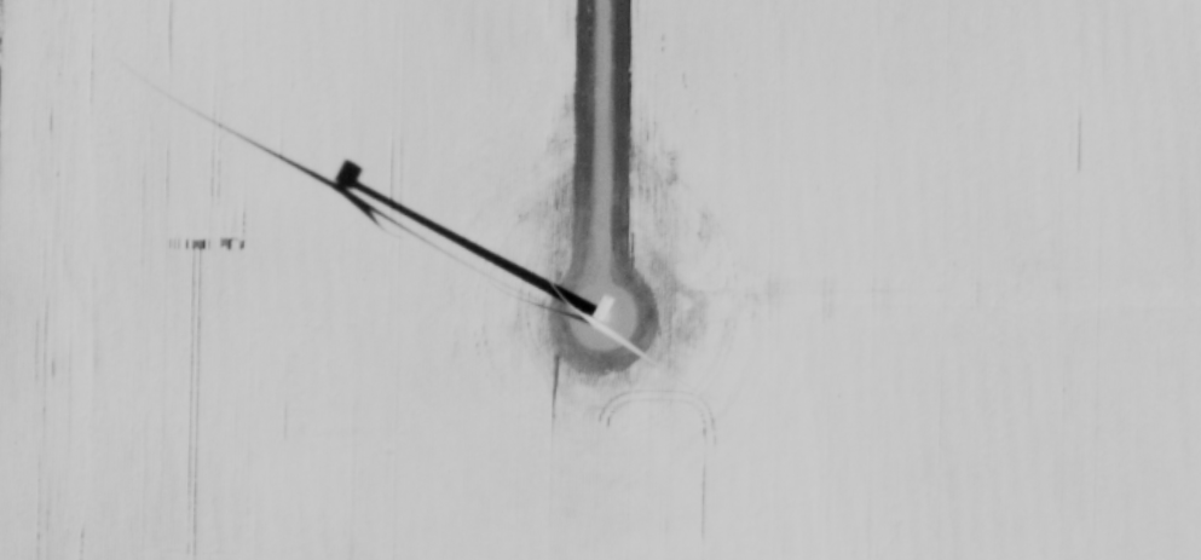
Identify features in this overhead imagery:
wind turbine: (573, 317)

